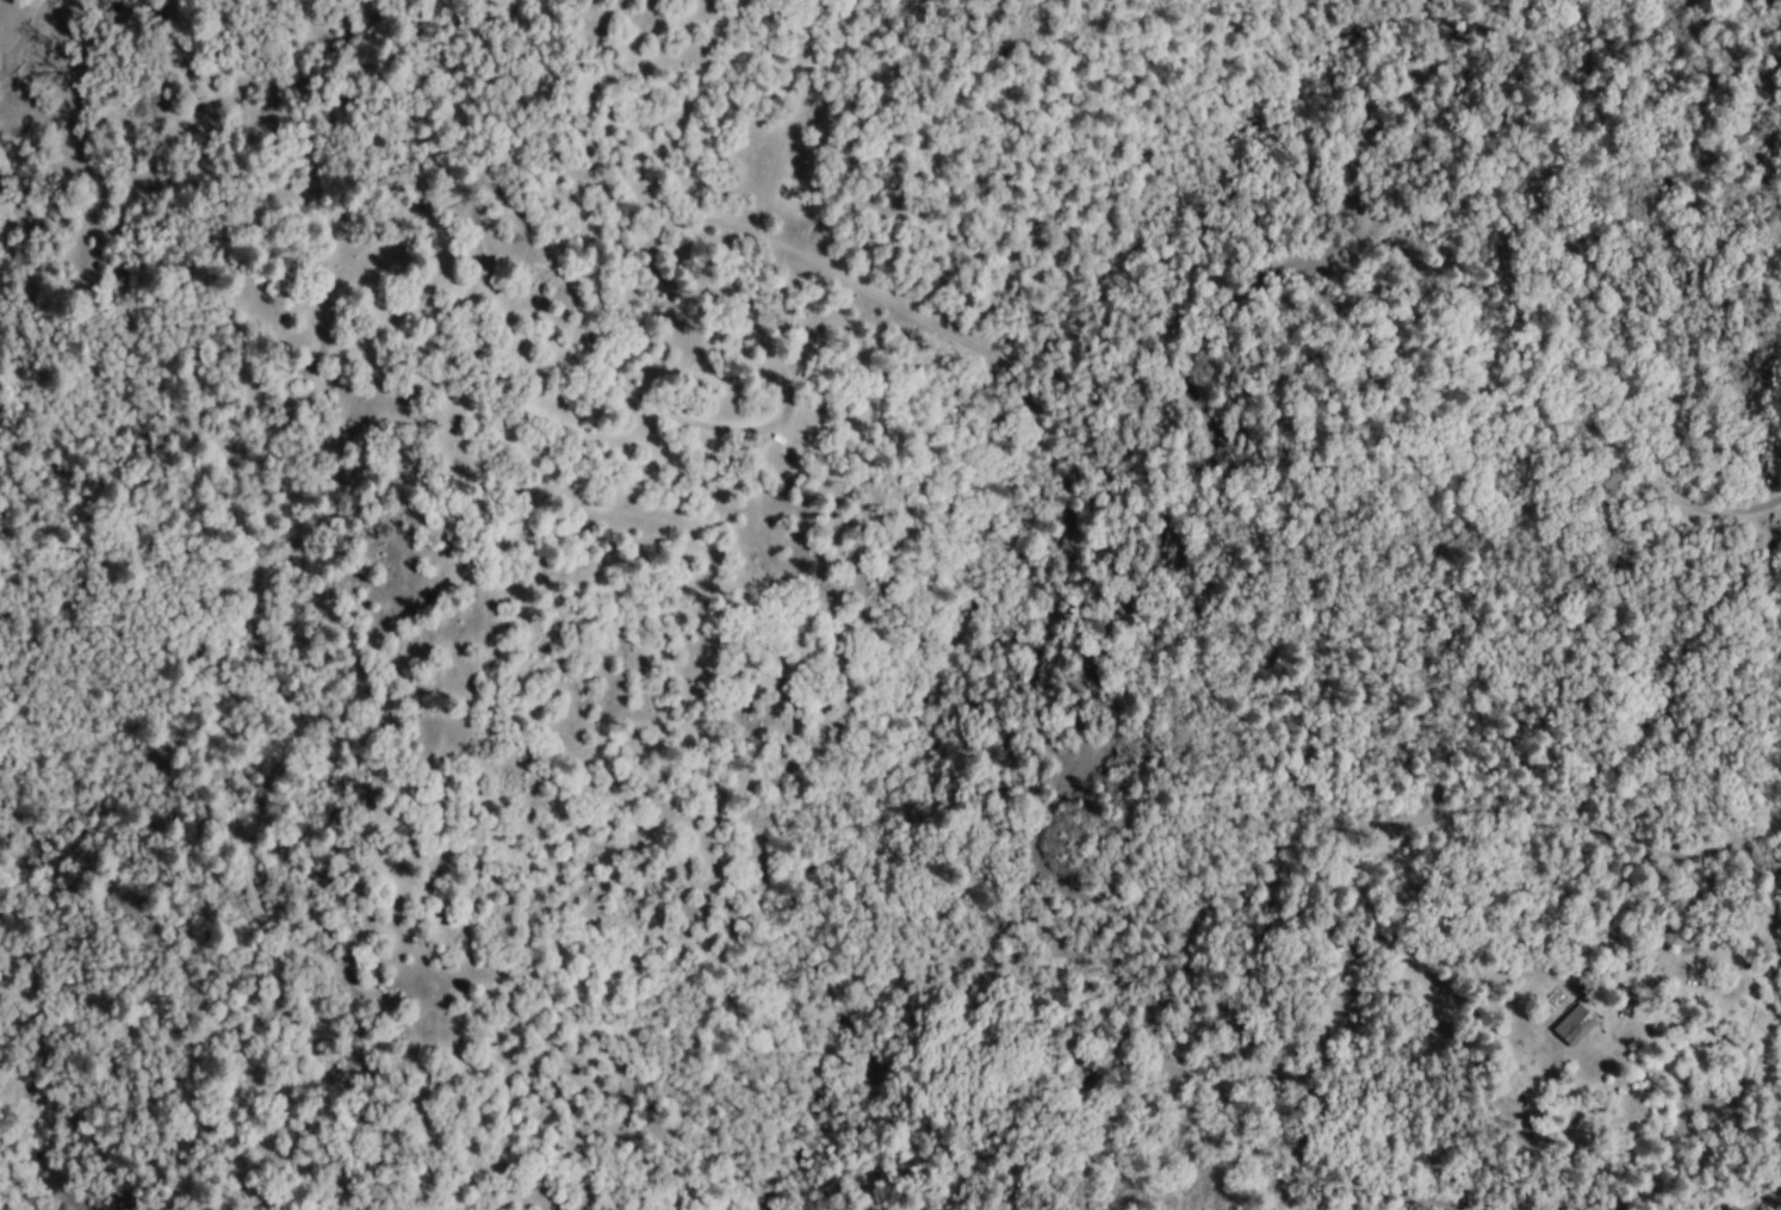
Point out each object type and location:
road: (1533, 415)
road: (1206, 461)
road: (1467, 812)
building: (1565, 1025)
road: (1256, 1061)
road: (1372, 1192)
road: (1762, 1203)

